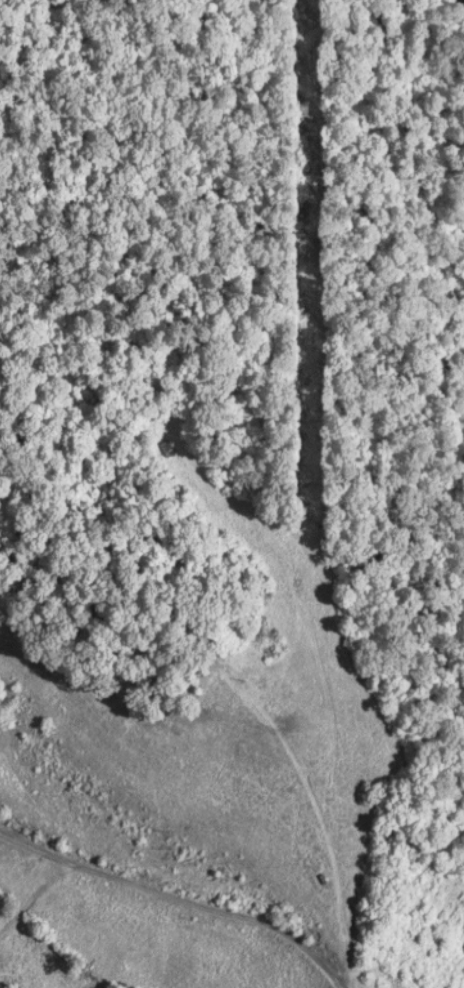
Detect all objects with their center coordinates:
building: (167, 446)

